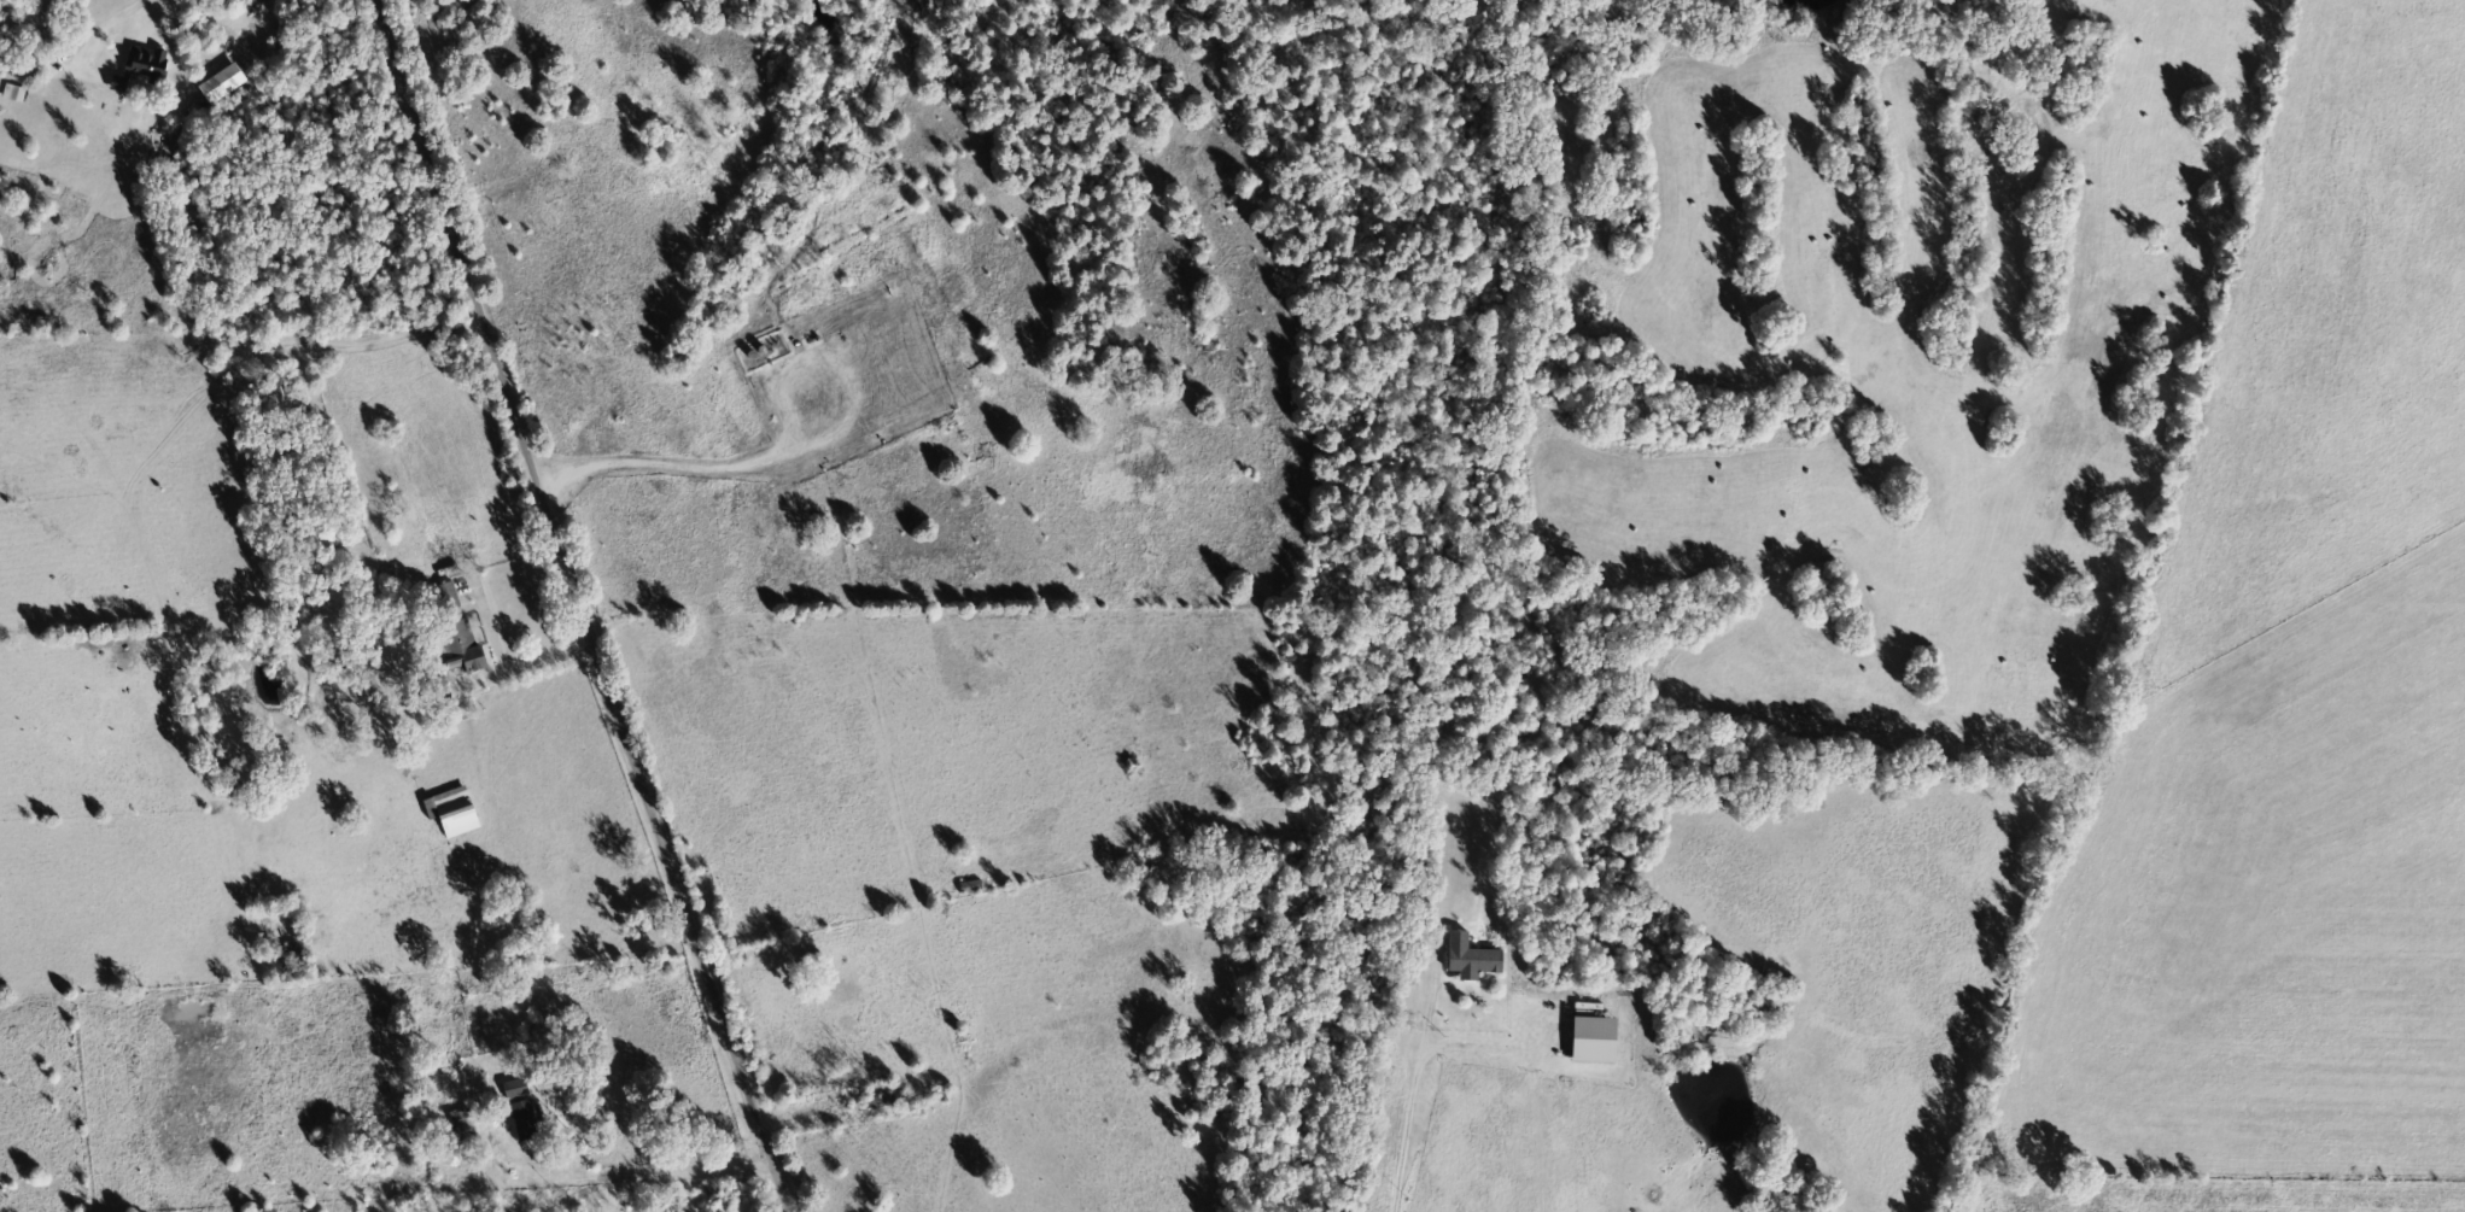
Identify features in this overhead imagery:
building: (146, 70)
building: (17, 94)
road: (609, 609)
building: (466, 649)
building: (458, 812)
road: (350, 932)
building: (1476, 959)
building: (1600, 1041)
building: (521, 1089)
building: (528, 1120)

